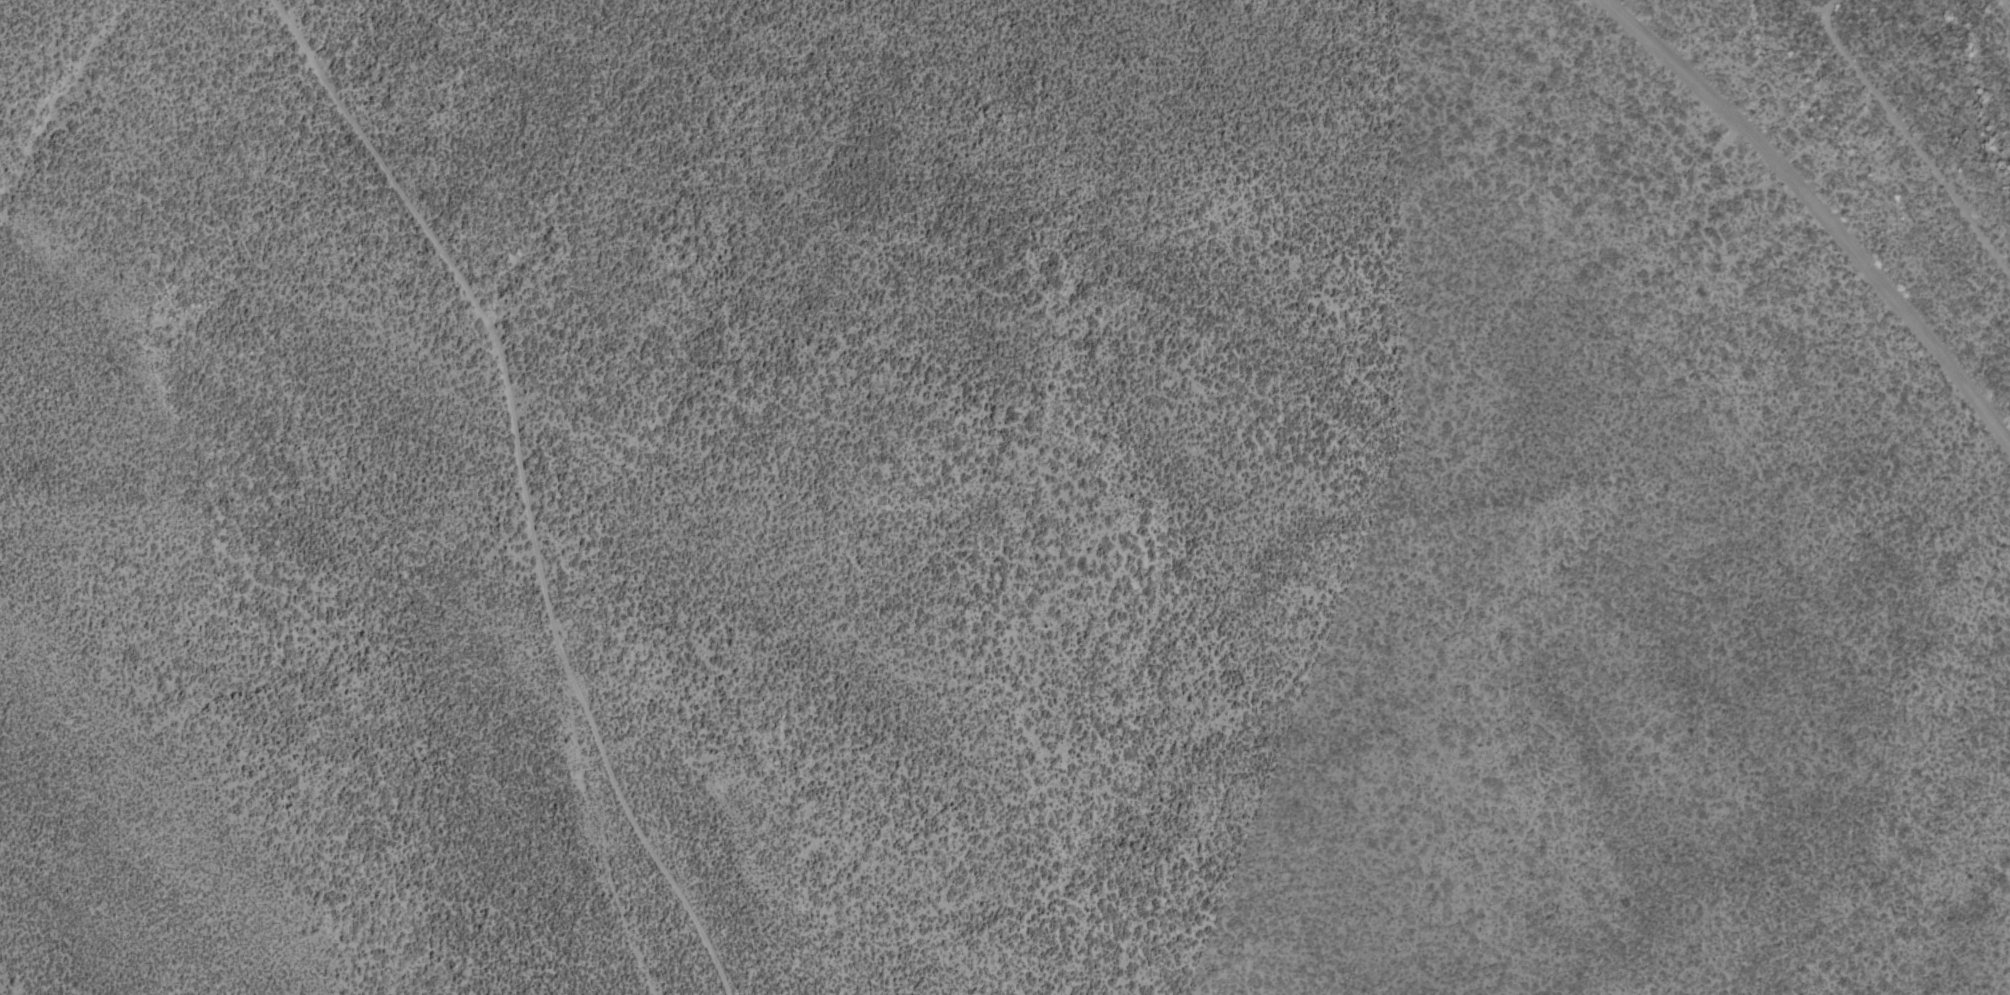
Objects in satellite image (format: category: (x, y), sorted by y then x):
road: (1907, 141)
road: (1817, 213)
road: (521, 484)

